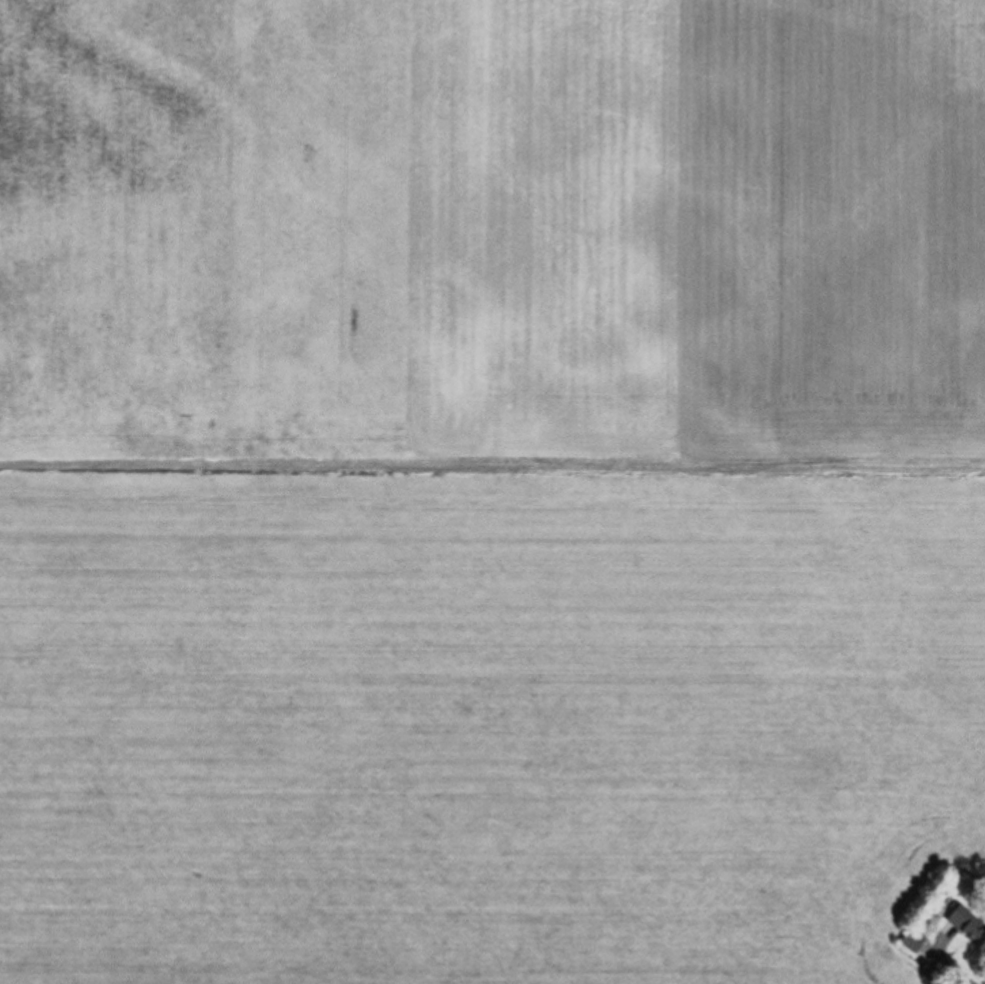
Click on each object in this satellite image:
building: (966, 928)
building: (910, 942)

